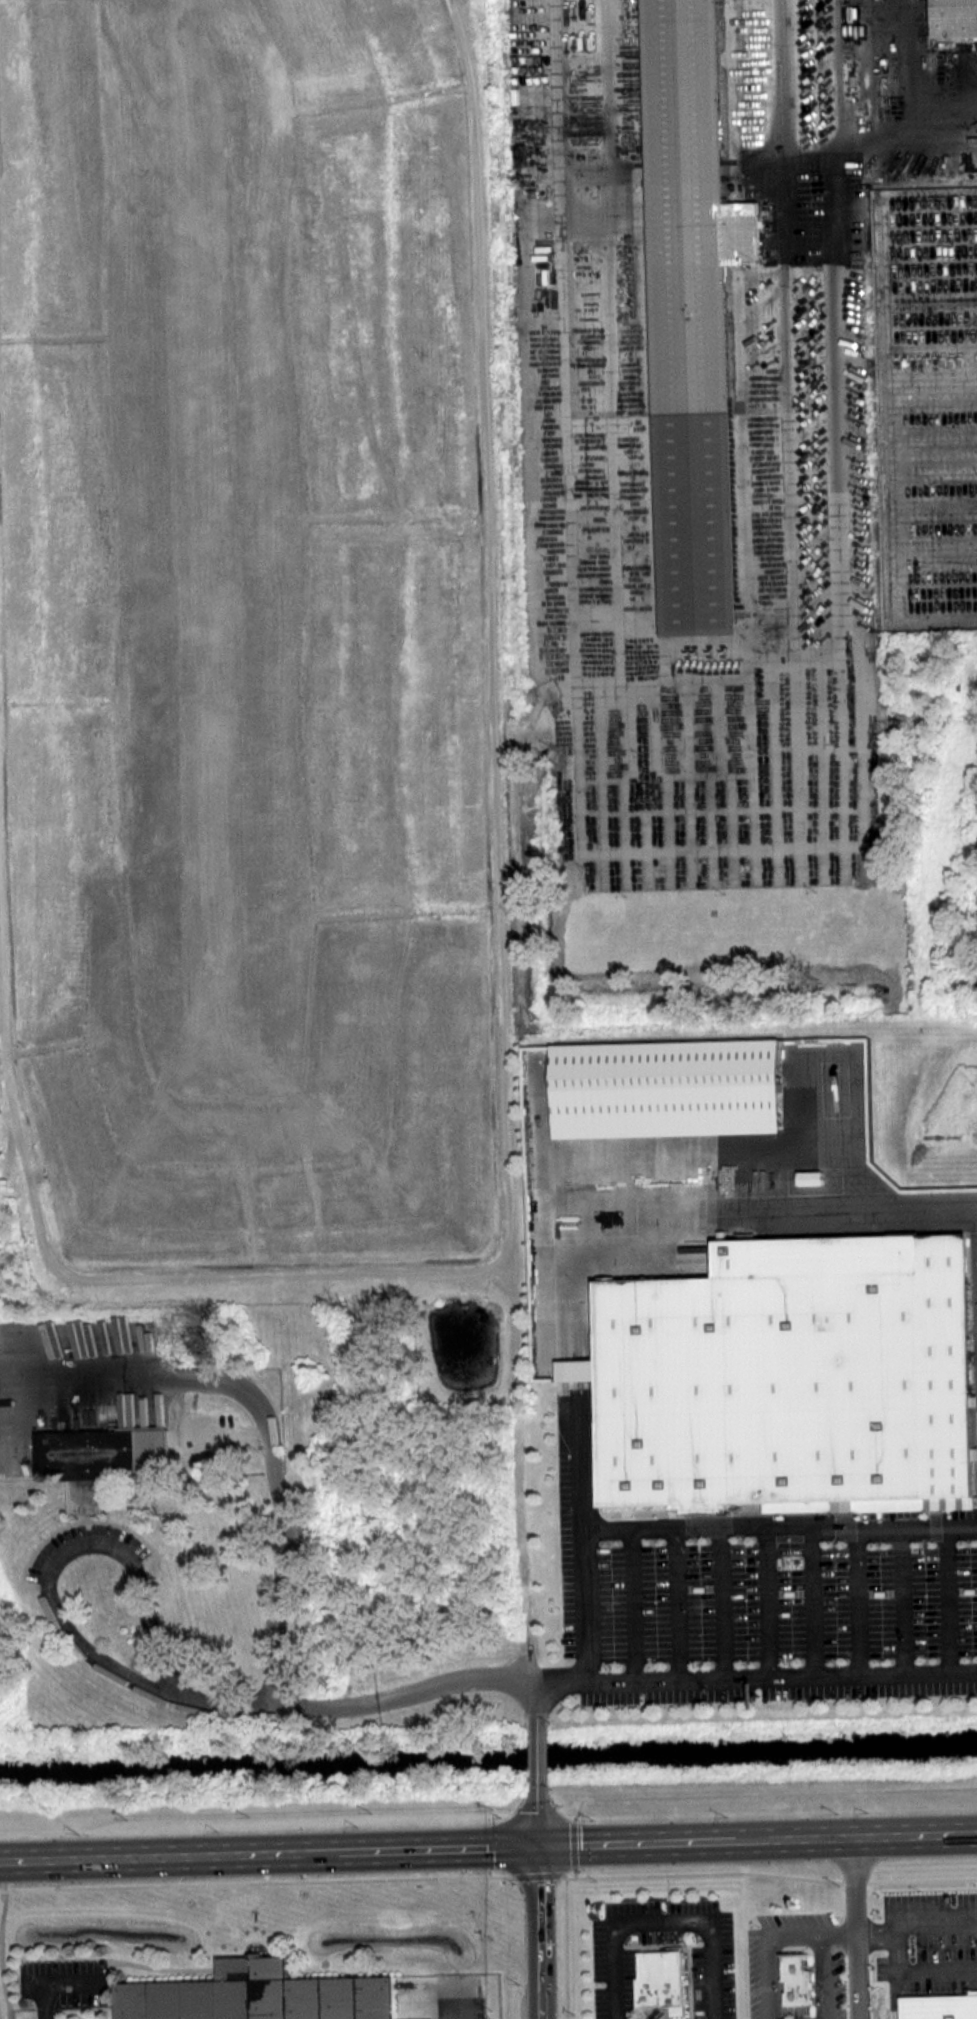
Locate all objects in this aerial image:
building: (957, 18)
road: (781, 64)
building: (693, 313)
parking lot: (737, 411)
landfill: (257, 633)
road: (483, 638)
road: (58, 1267)
building: (748, 1278)
road: (258, 1404)
building: (100, 1461)
road: (779, 1526)
road: (581, 1531)
road: (77, 1638)
road: (753, 1678)
road: (452, 1679)
road: (532, 1697)
road: (534, 1748)
road: (537, 1815)
road: (915, 1834)
road: (695, 1840)
traffic signals: (538, 1845)
road: (269, 1853)
road: (661, 1919)
road: (913, 1926)
road: (855, 1927)
road: (539, 1932)
road: (841, 1933)
road: (826, 1943)
road: (766, 1948)
road: (918, 1970)
building: (662, 1979)
building: (796, 1983)
road: (827, 1986)
building: (262, 1998)
road: (46, 2002)
road: (457, 2003)
building: (941, 2006)

